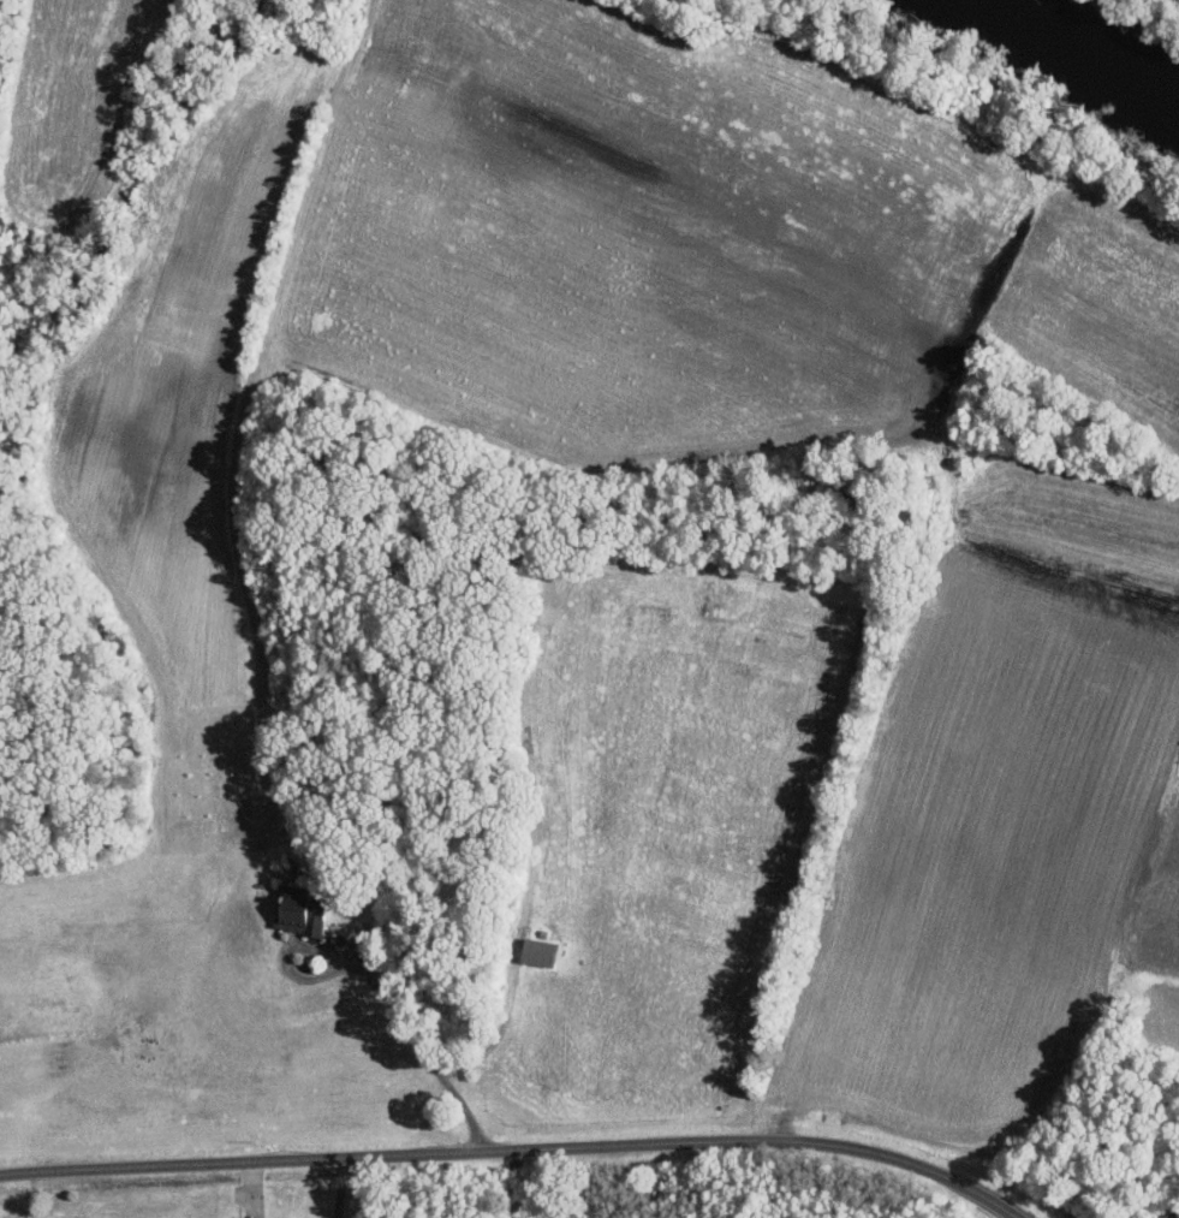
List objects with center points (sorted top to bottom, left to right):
river: (1090, 42)
building: (294, 913)
building: (532, 950)
road: (409, 1032)
road: (512, 1151)

